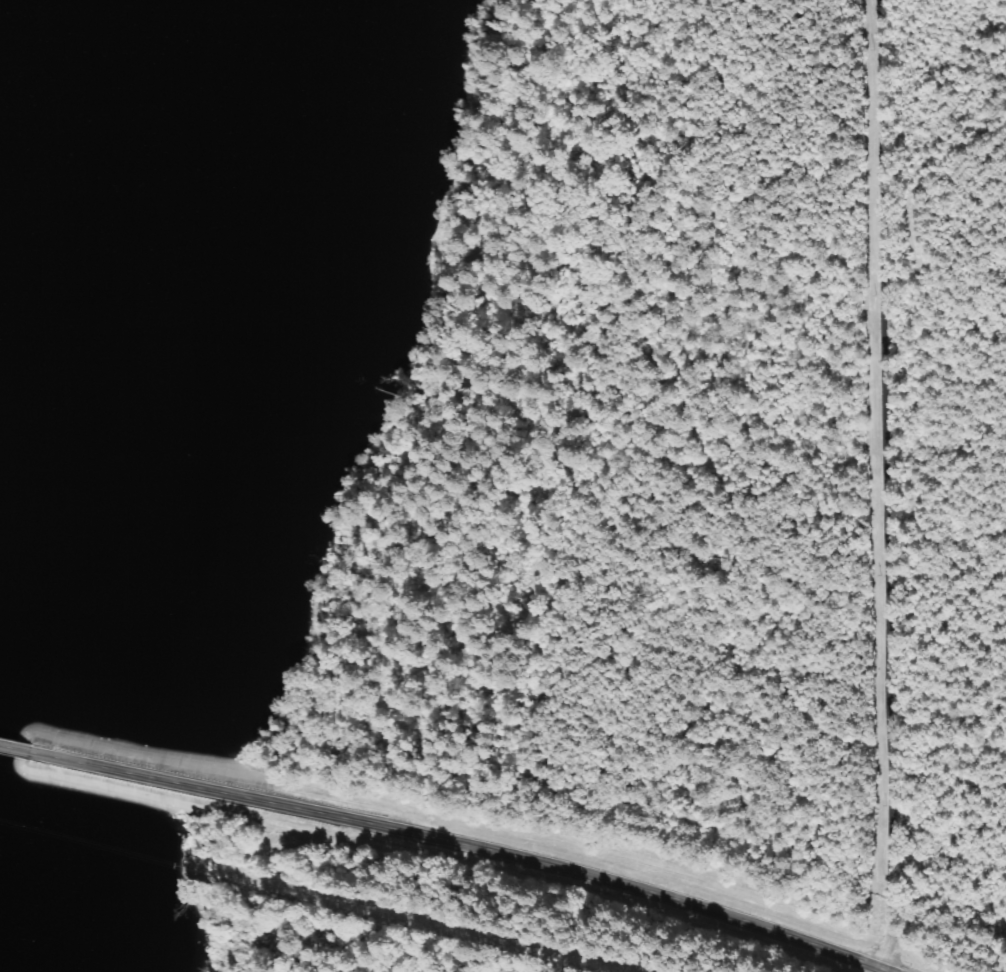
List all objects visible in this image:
road: (882, 486)
road: (19, 748)
road: (158, 777)
road: (591, 874)
park: (436, 911)

